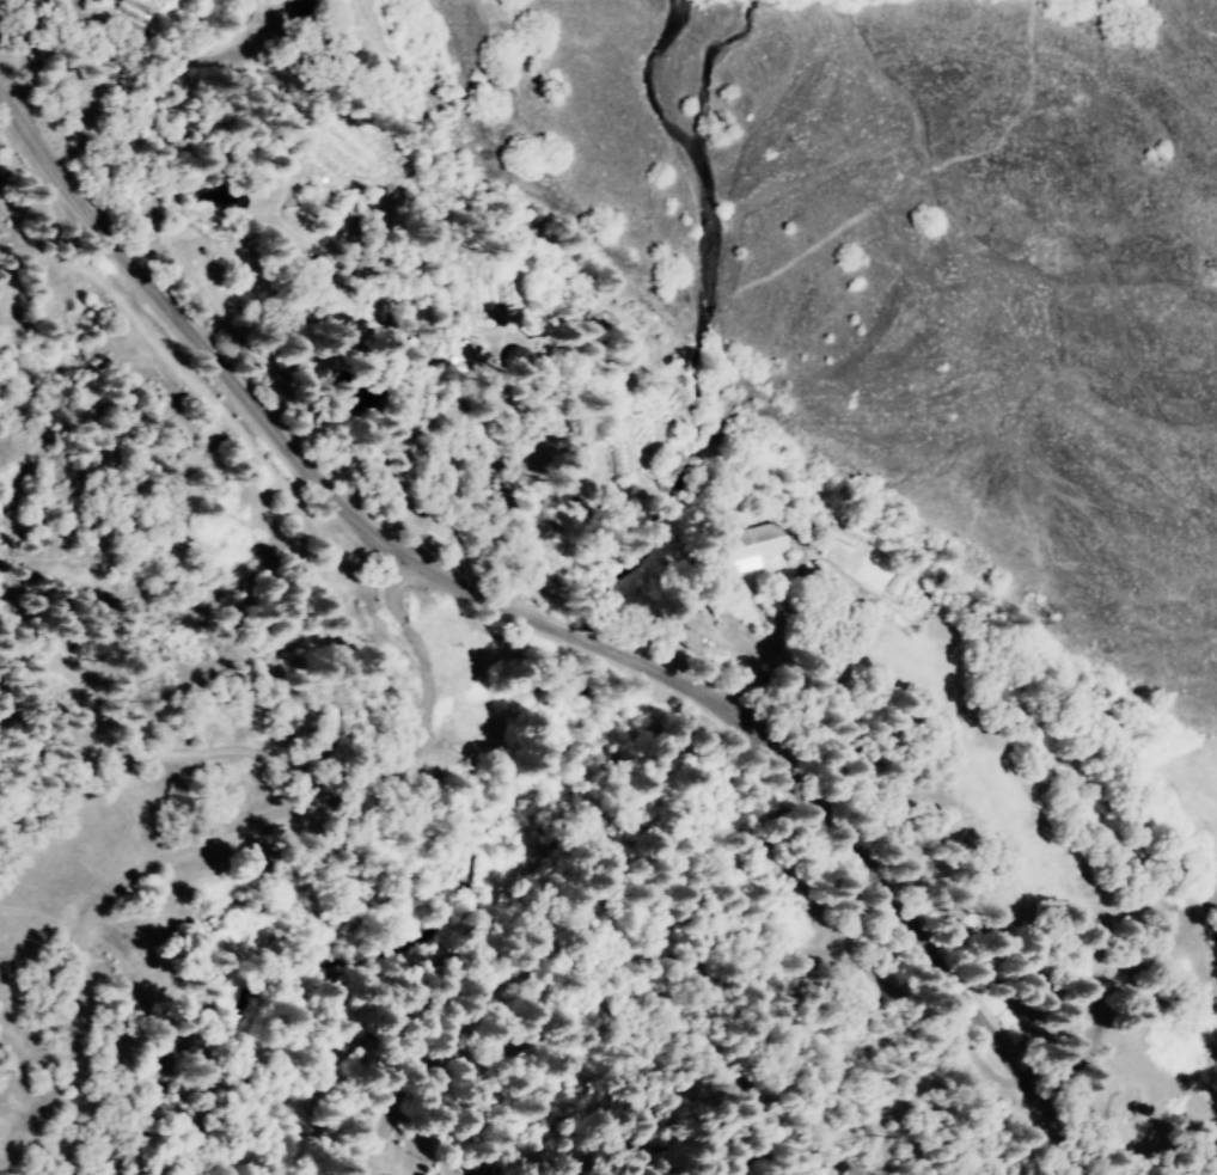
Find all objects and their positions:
building: (145, 0)
building: (298, 0)
road: (62, 55)
road: (203, 153)
building: (757, 545)
building: (726, 595)
road: (536, 620)
road: (194, 851)
road: (764, 1104)

